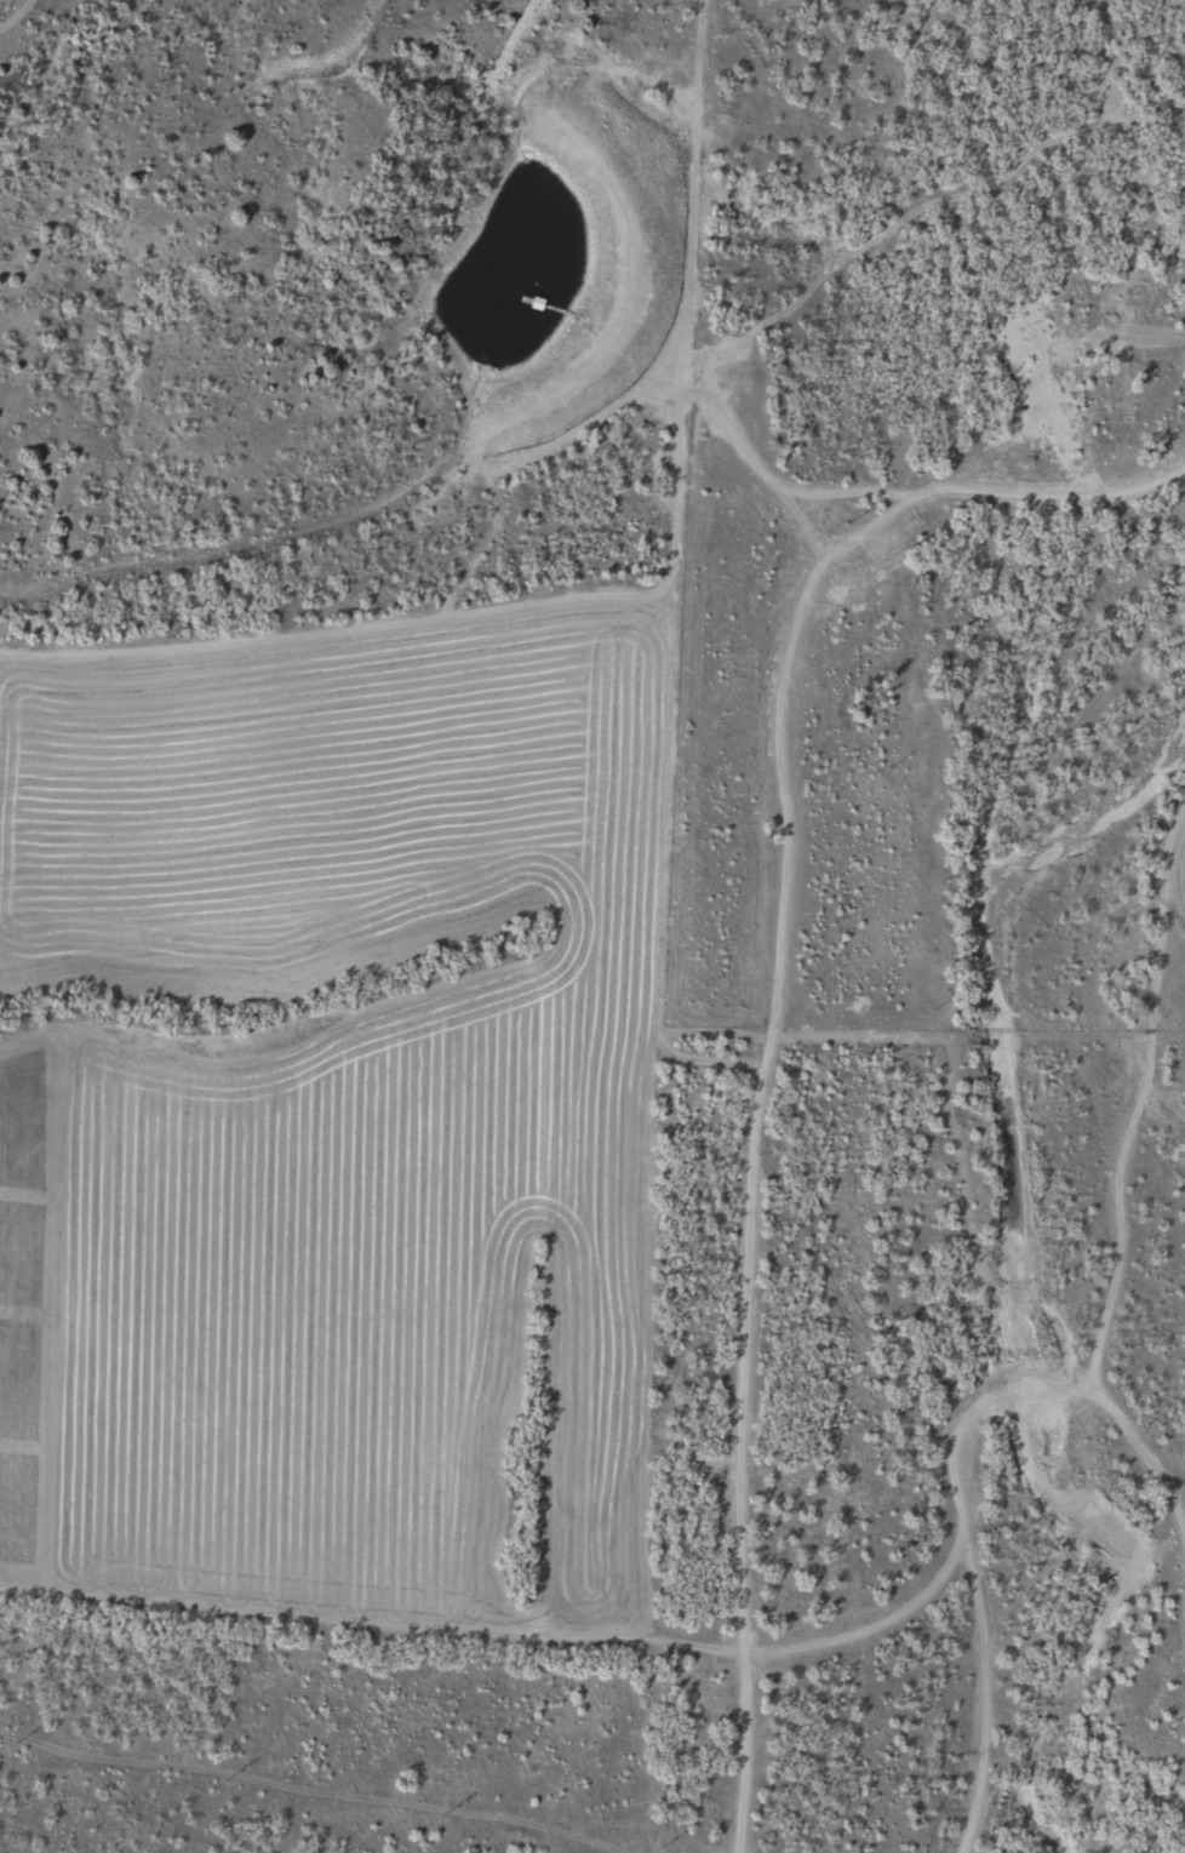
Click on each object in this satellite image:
road: (765, 1217)

